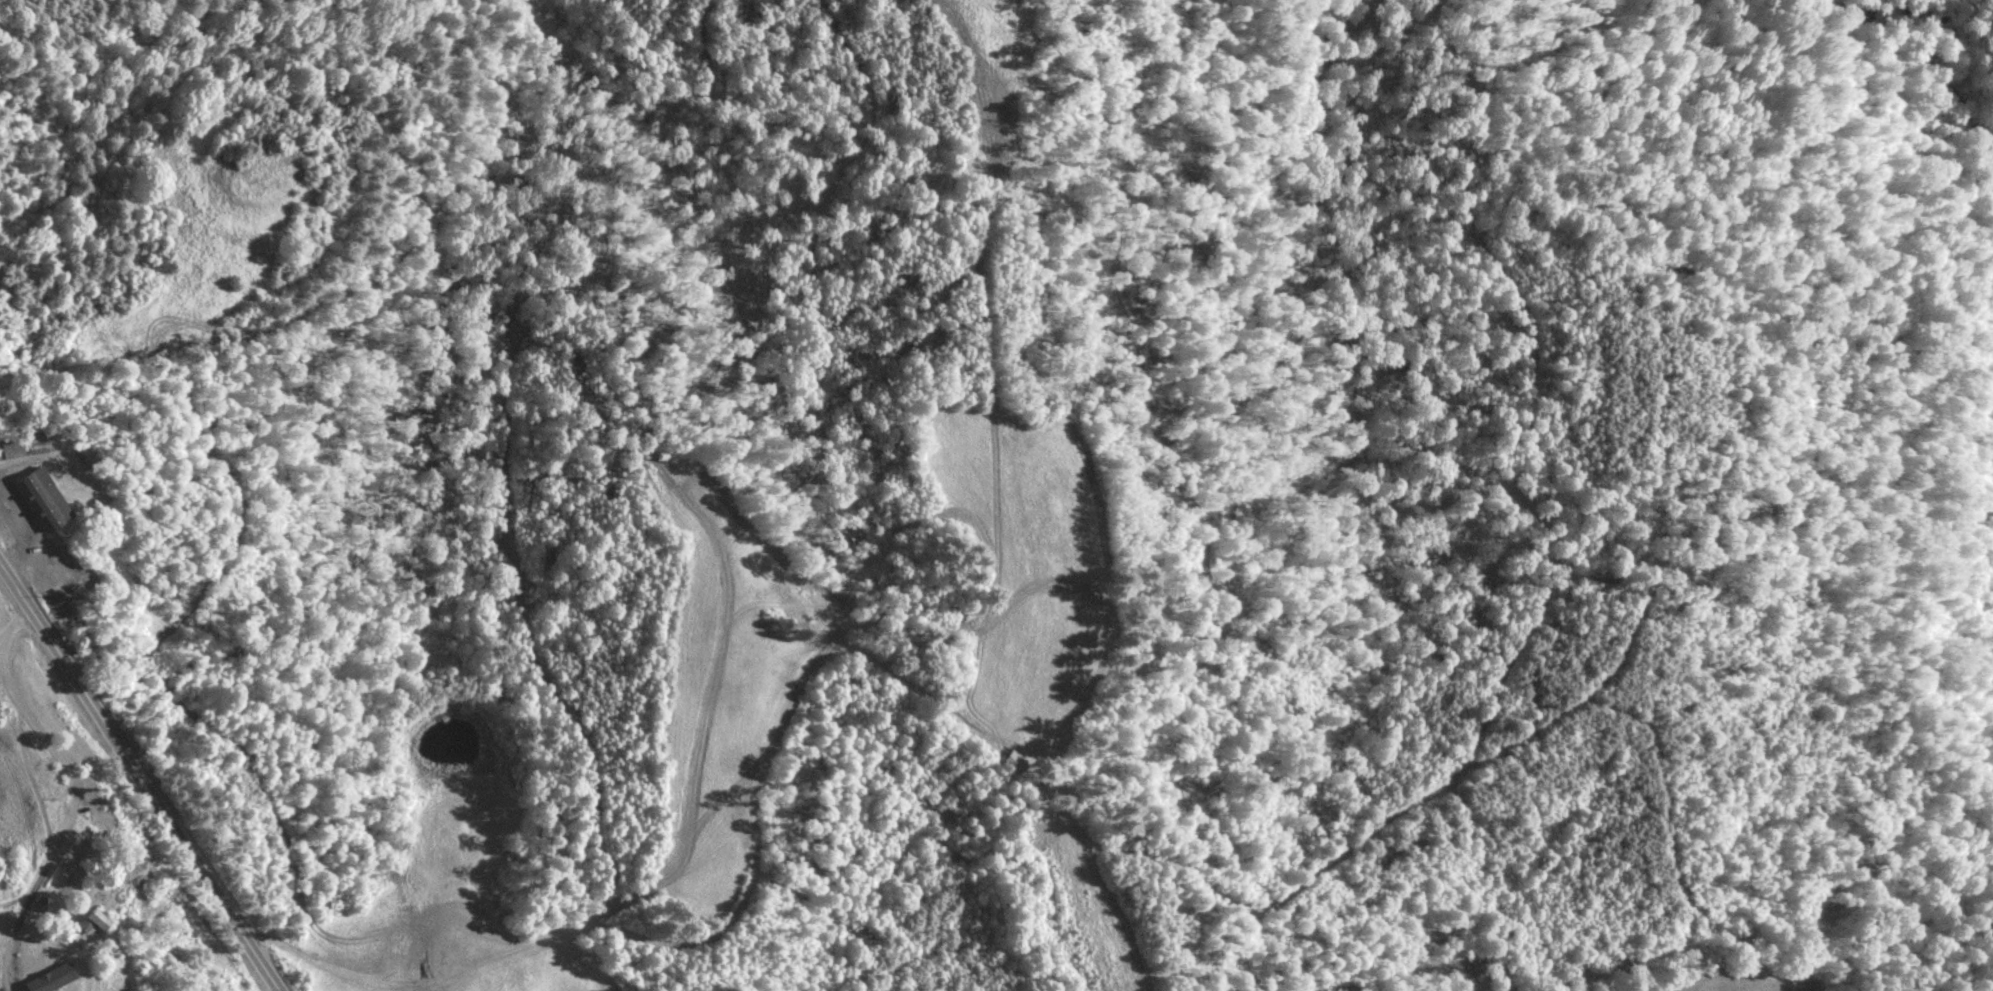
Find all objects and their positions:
building: (26, 445)
building: (45, 499)
road: (139, 777)
building: (95, 922)

